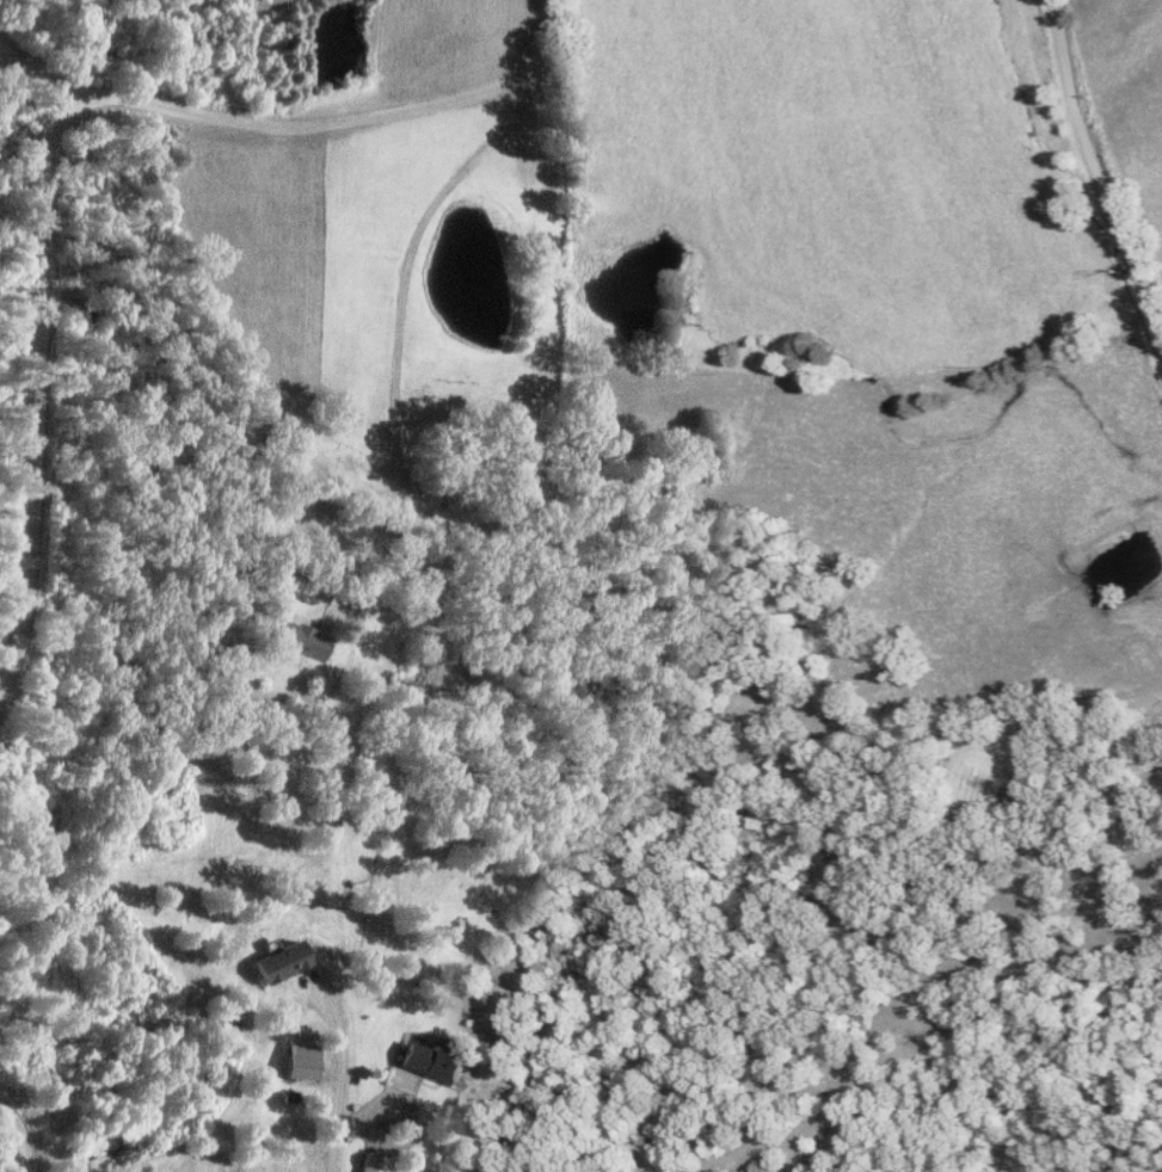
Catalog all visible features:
road: (552, 36)
road: (55, 82)
road: (41, 156)
road: (1096, 162)
road: (414, 254)
building: (306, 640)
building: (285, 963)
building: (303, 1061)
building: (435, 1062)
road: (24, 1128)
road: (334, 1159)
building: (374, 1164)

